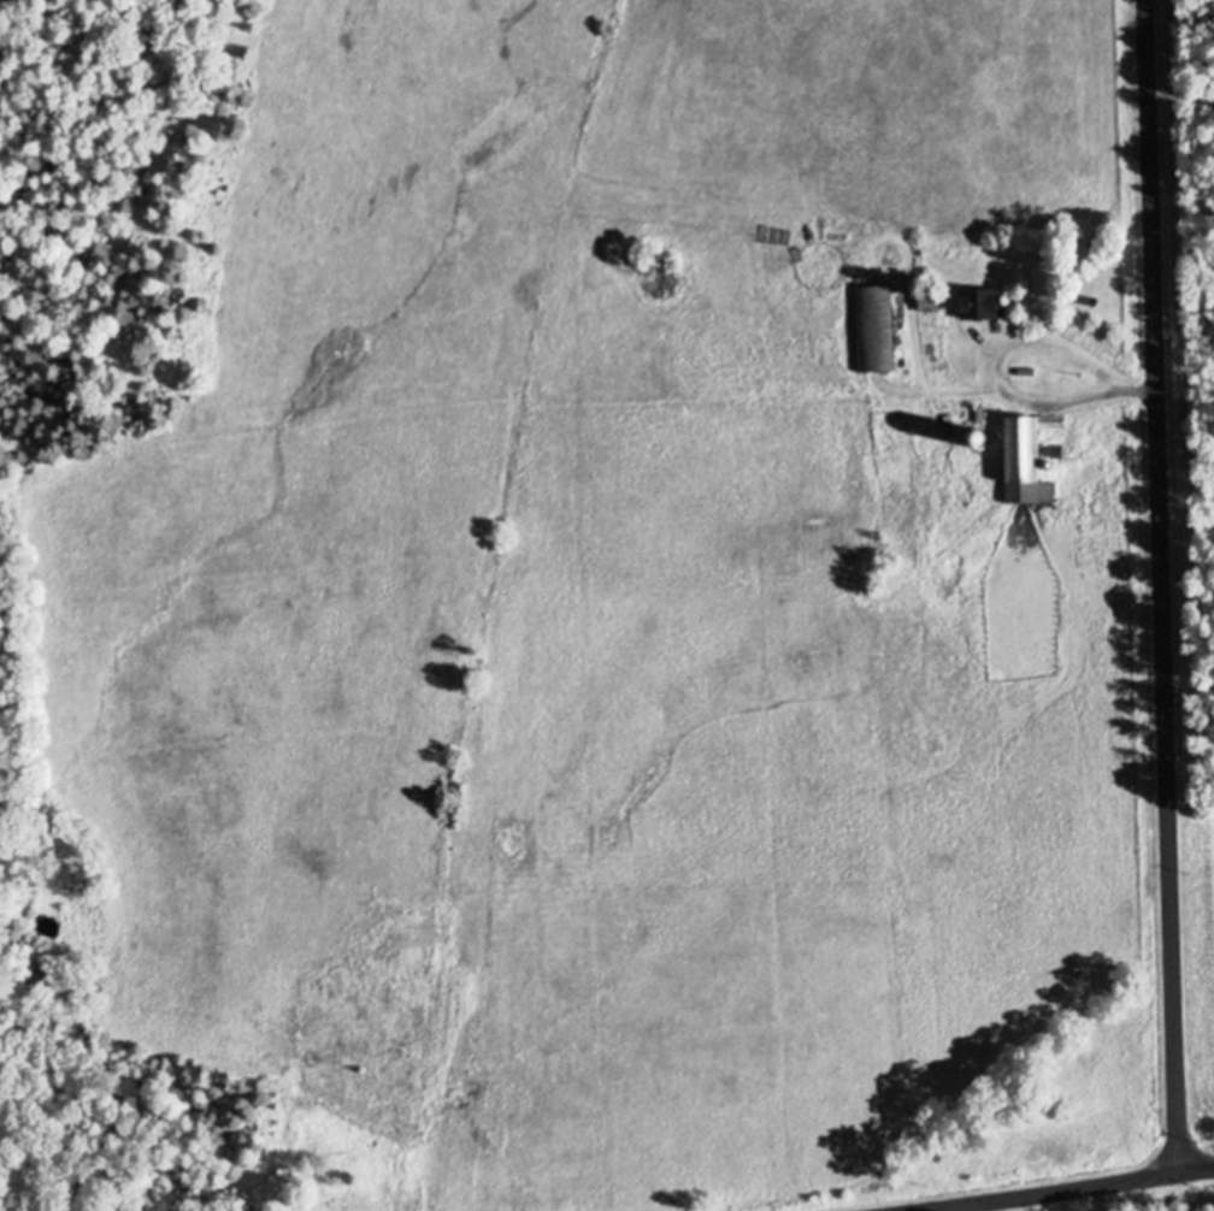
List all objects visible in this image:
building: (872, 294)
building: (977, 302)
road: (1004, 354)
building: (1023, 457)
road: (1163, 585)
road: (1065, 1188)

